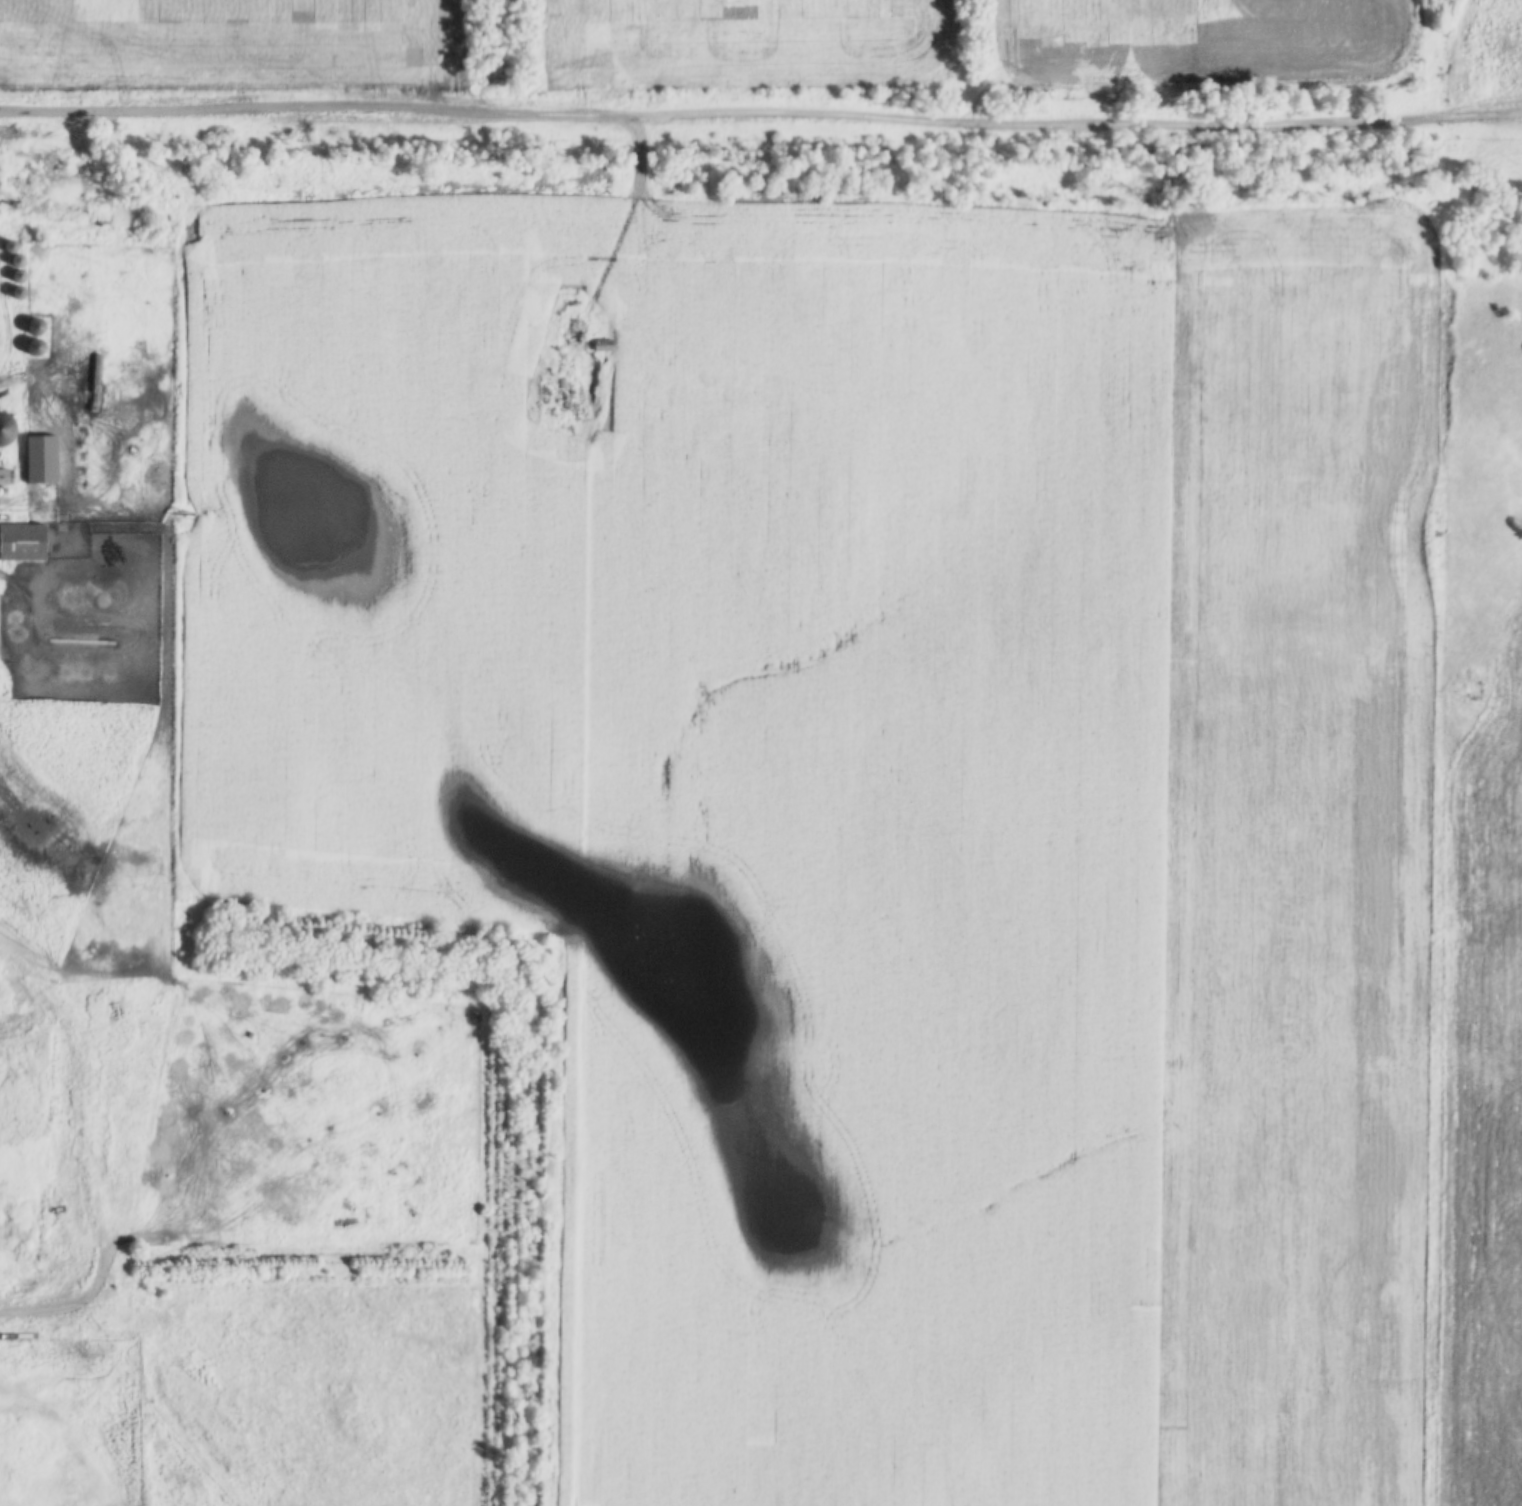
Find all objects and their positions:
road: (500, 60)
road: (761, 124)
building: (15, 293)
building: (30, 327)
building: (600, 347)
building: (31, 348)
building: (2, 429)
building: (37, 461)
building: (2, 478)
building: (20, 544)

